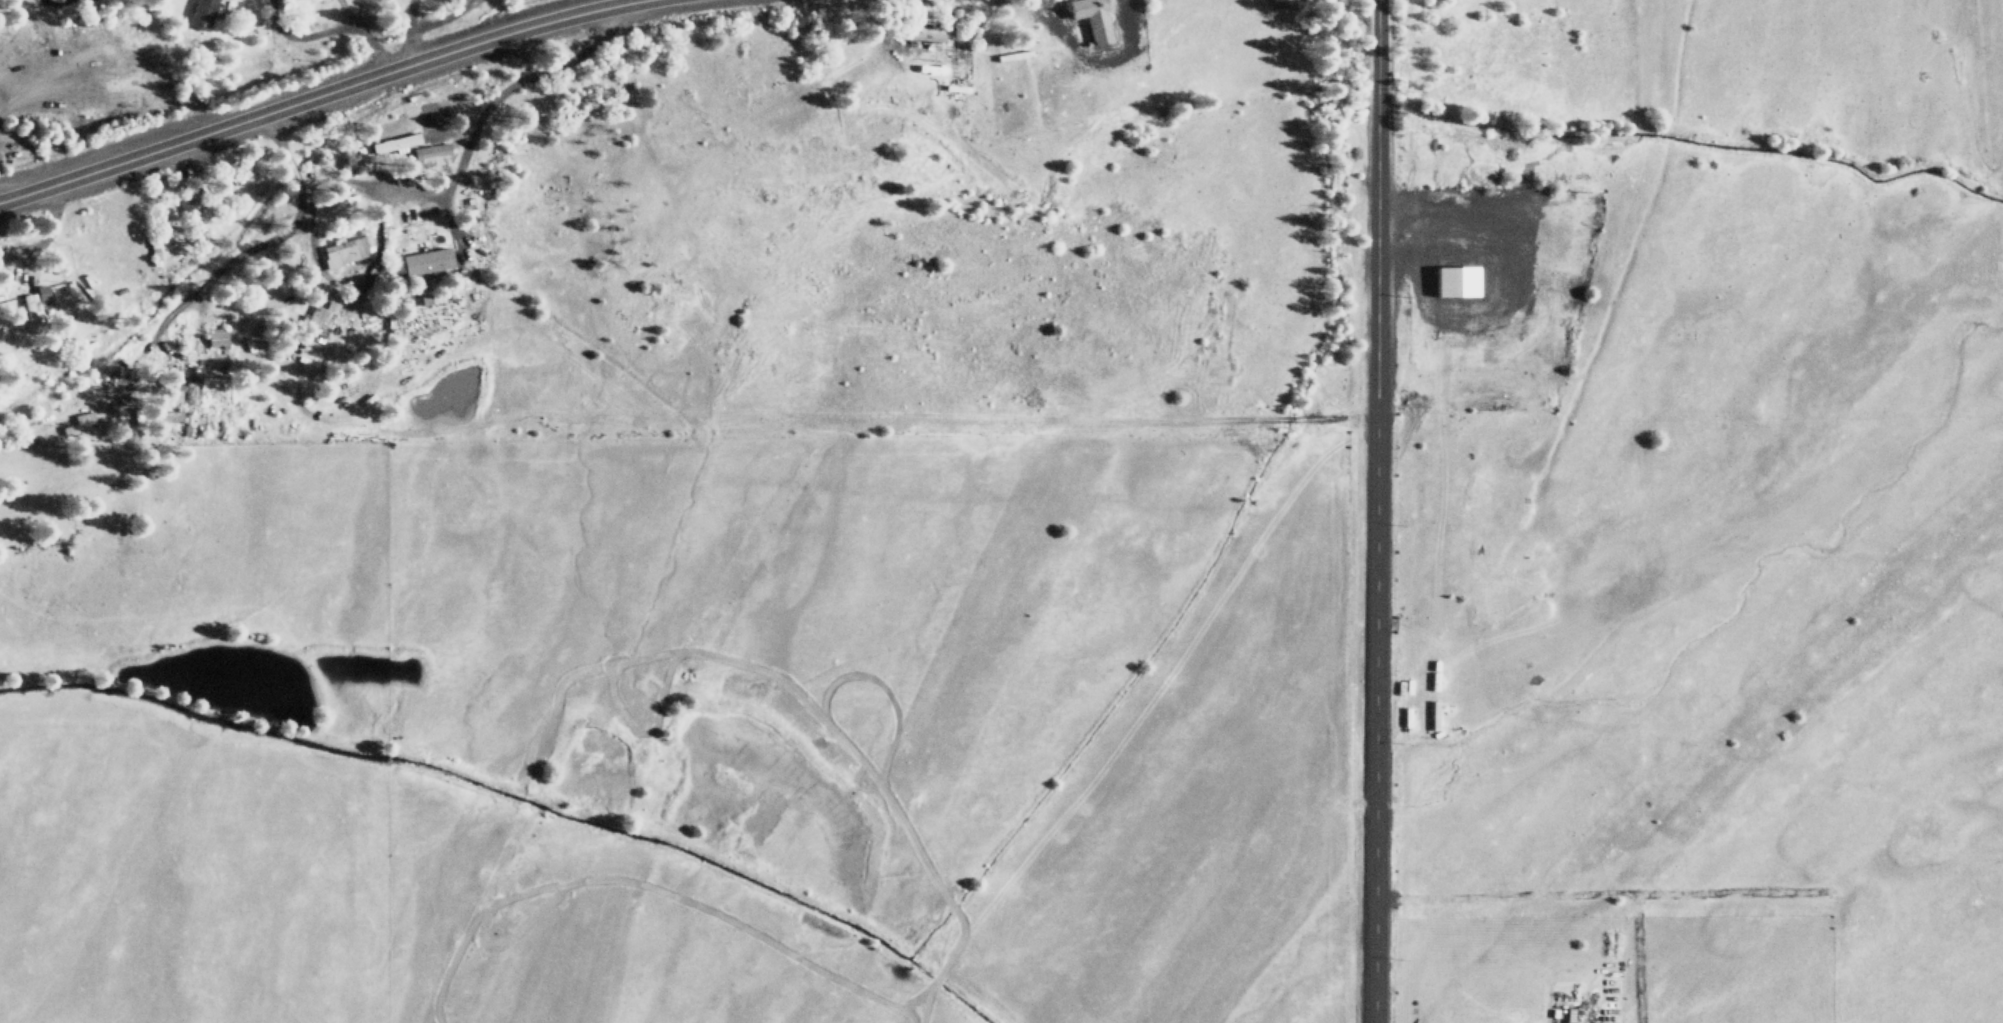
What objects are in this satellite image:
building: (1282, 0)
building: (293, 3)
building: (202, 14)
building: (1092, 18)
building: (925, 35)
road: (316, 93)
building: (396, 143)
building: (433, 153)
building: (192, 207)
building: (346, 250)
building: (428, 260)
building: (1455, 279)
building: (31, 316)
building: (320, 317)
building: (218, 337)
building: (191, 393)
building: (173, 416)
building: (83, 427)
road: (1377, 511)

